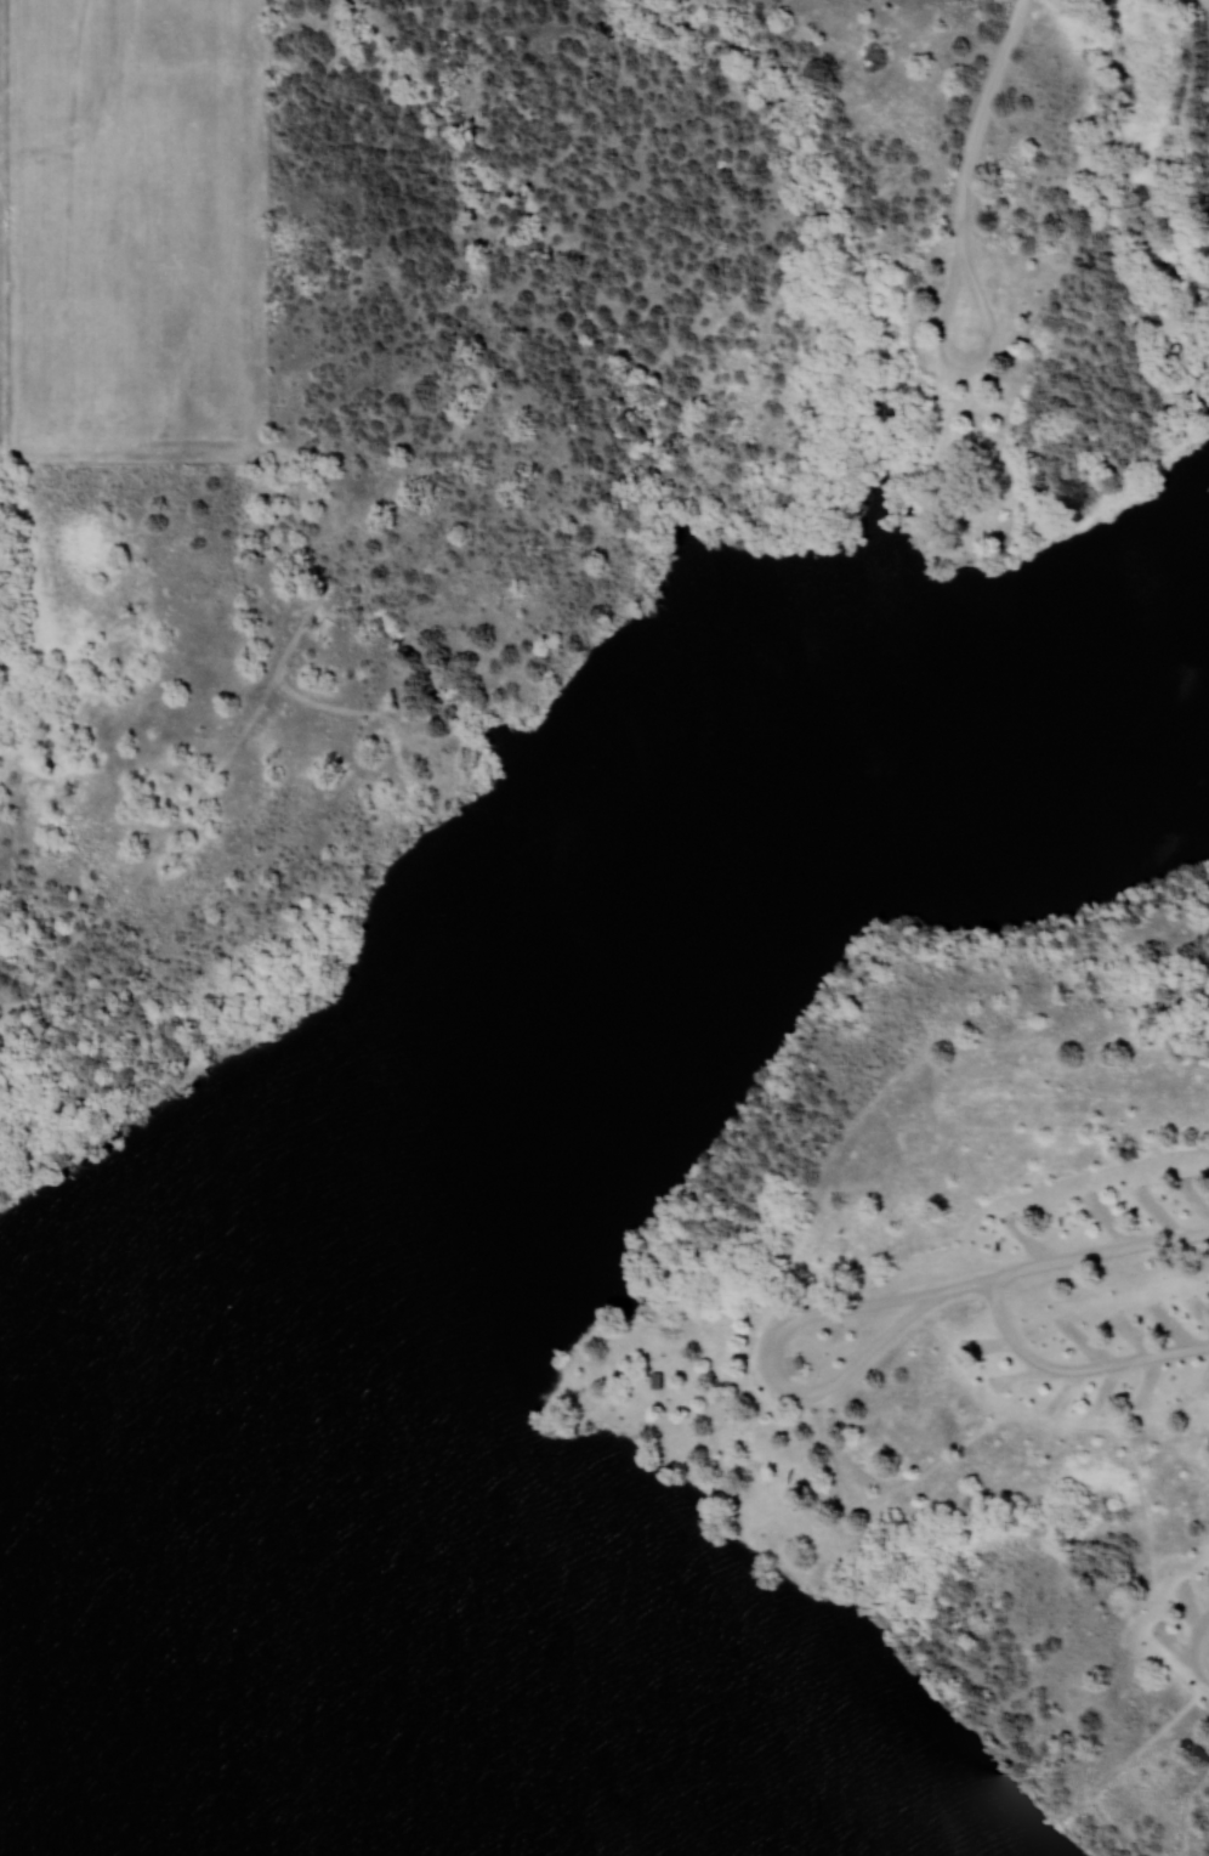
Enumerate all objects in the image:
road: (984, 129)
road: (976, 362)
park: (631, 967)
road: (1066, 1260)
building: (793, 1360)
road: (1074, 1368)
road: (770, 1374)
road: (1199, 1650)

